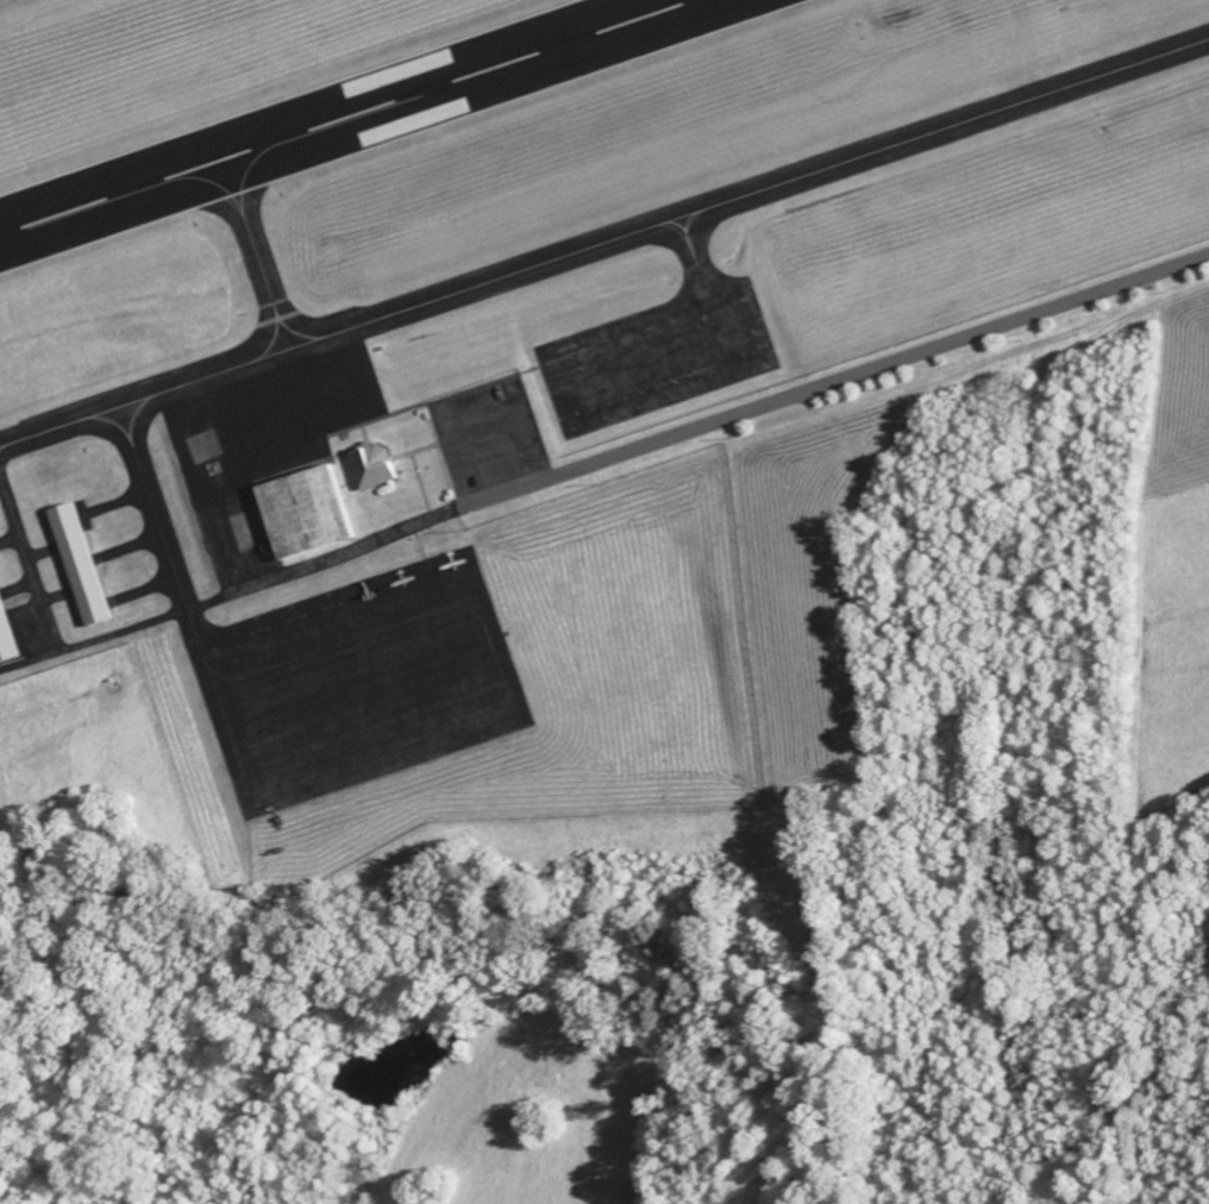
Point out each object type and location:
airport runway: (346, 117)
airport taxiway: (604, 243)
airport taxiway: (256, 253)
airport apron: (659, 356)
road: (844, 381)
building: (381, 465)
road: (469, 471)
building: (314, 512)
airport taxiway: (161, 528)
airport taxiway: (27, 558)
building: (80, 565)
building: (7, 634)
airport apron: (361, 684)

